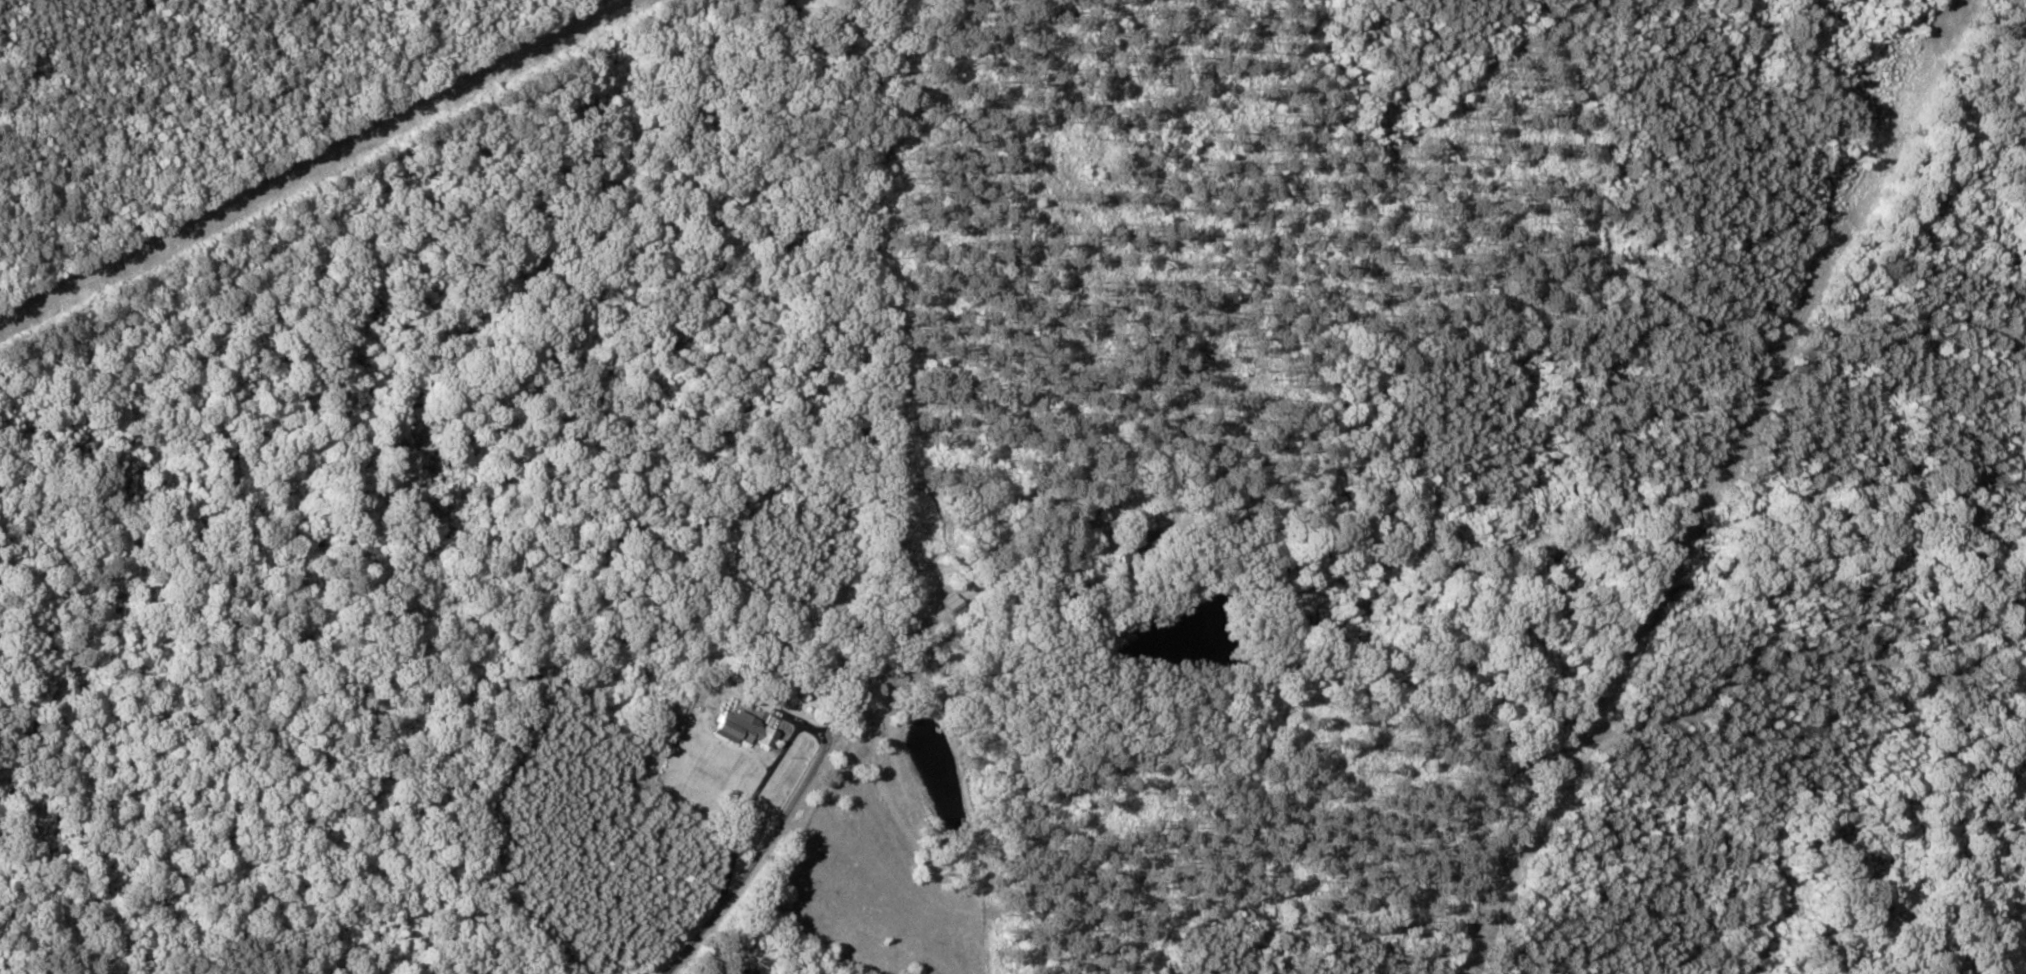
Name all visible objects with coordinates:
building: (956, 605)
building: (747, 729)
road: (737, 832)

